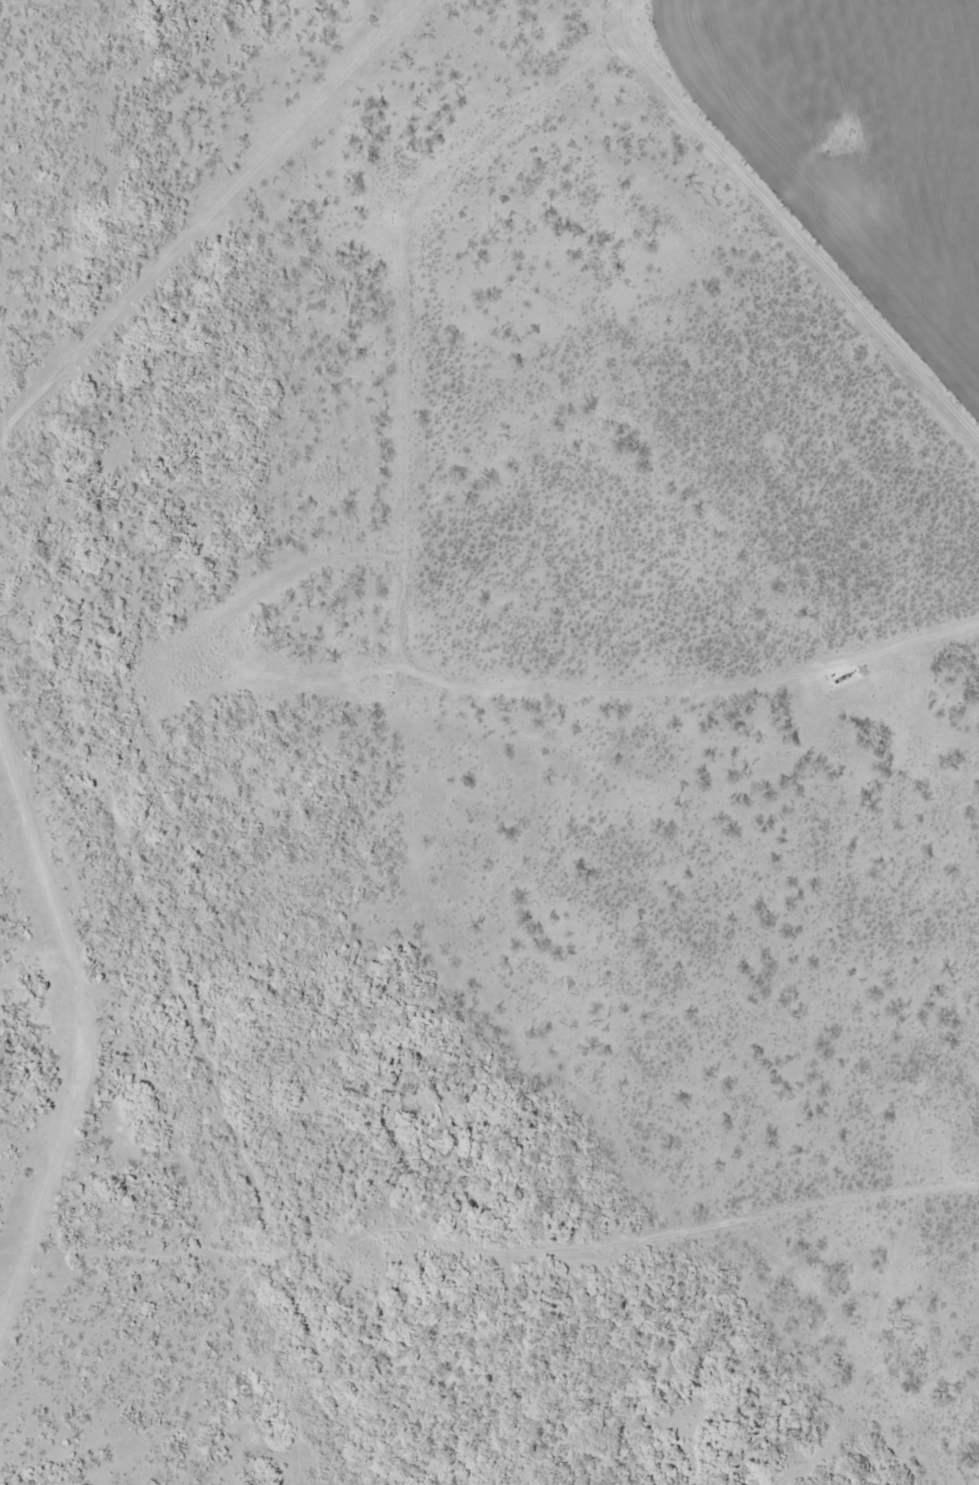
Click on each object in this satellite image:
road: (814, 206)
road: (401, 544)

